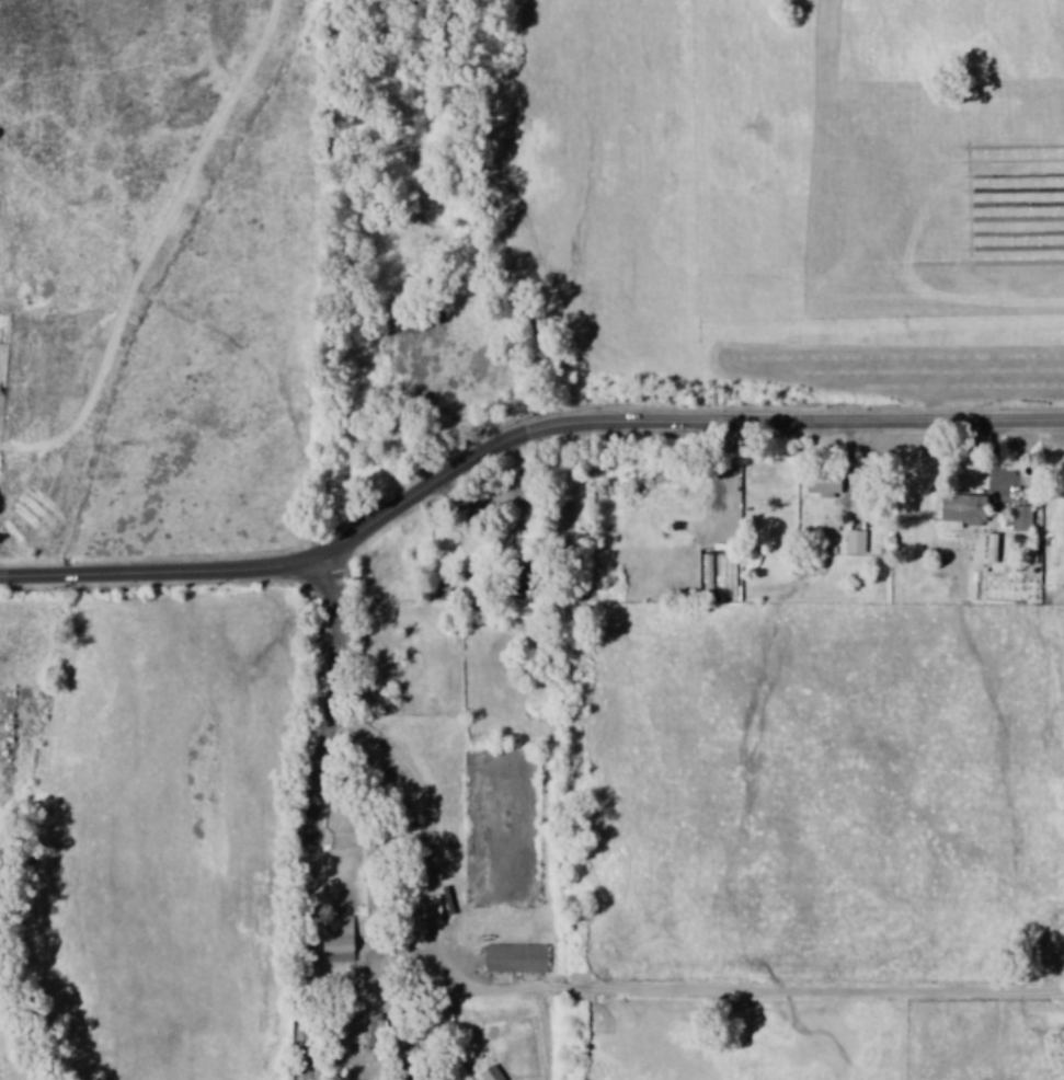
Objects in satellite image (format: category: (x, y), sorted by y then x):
road: (674, 426)
building: (824, 483)
building: (963, 508)
building: (1021, 518)
building: (855, 541)
building: (991, 548)
road: (161, 575)
road: (431, 805)
road: (318, 819)
building: (341, 937)
building: (515, 958)
road: (391, 1001)
building: (376, 1023)
building: (491, 1073)

